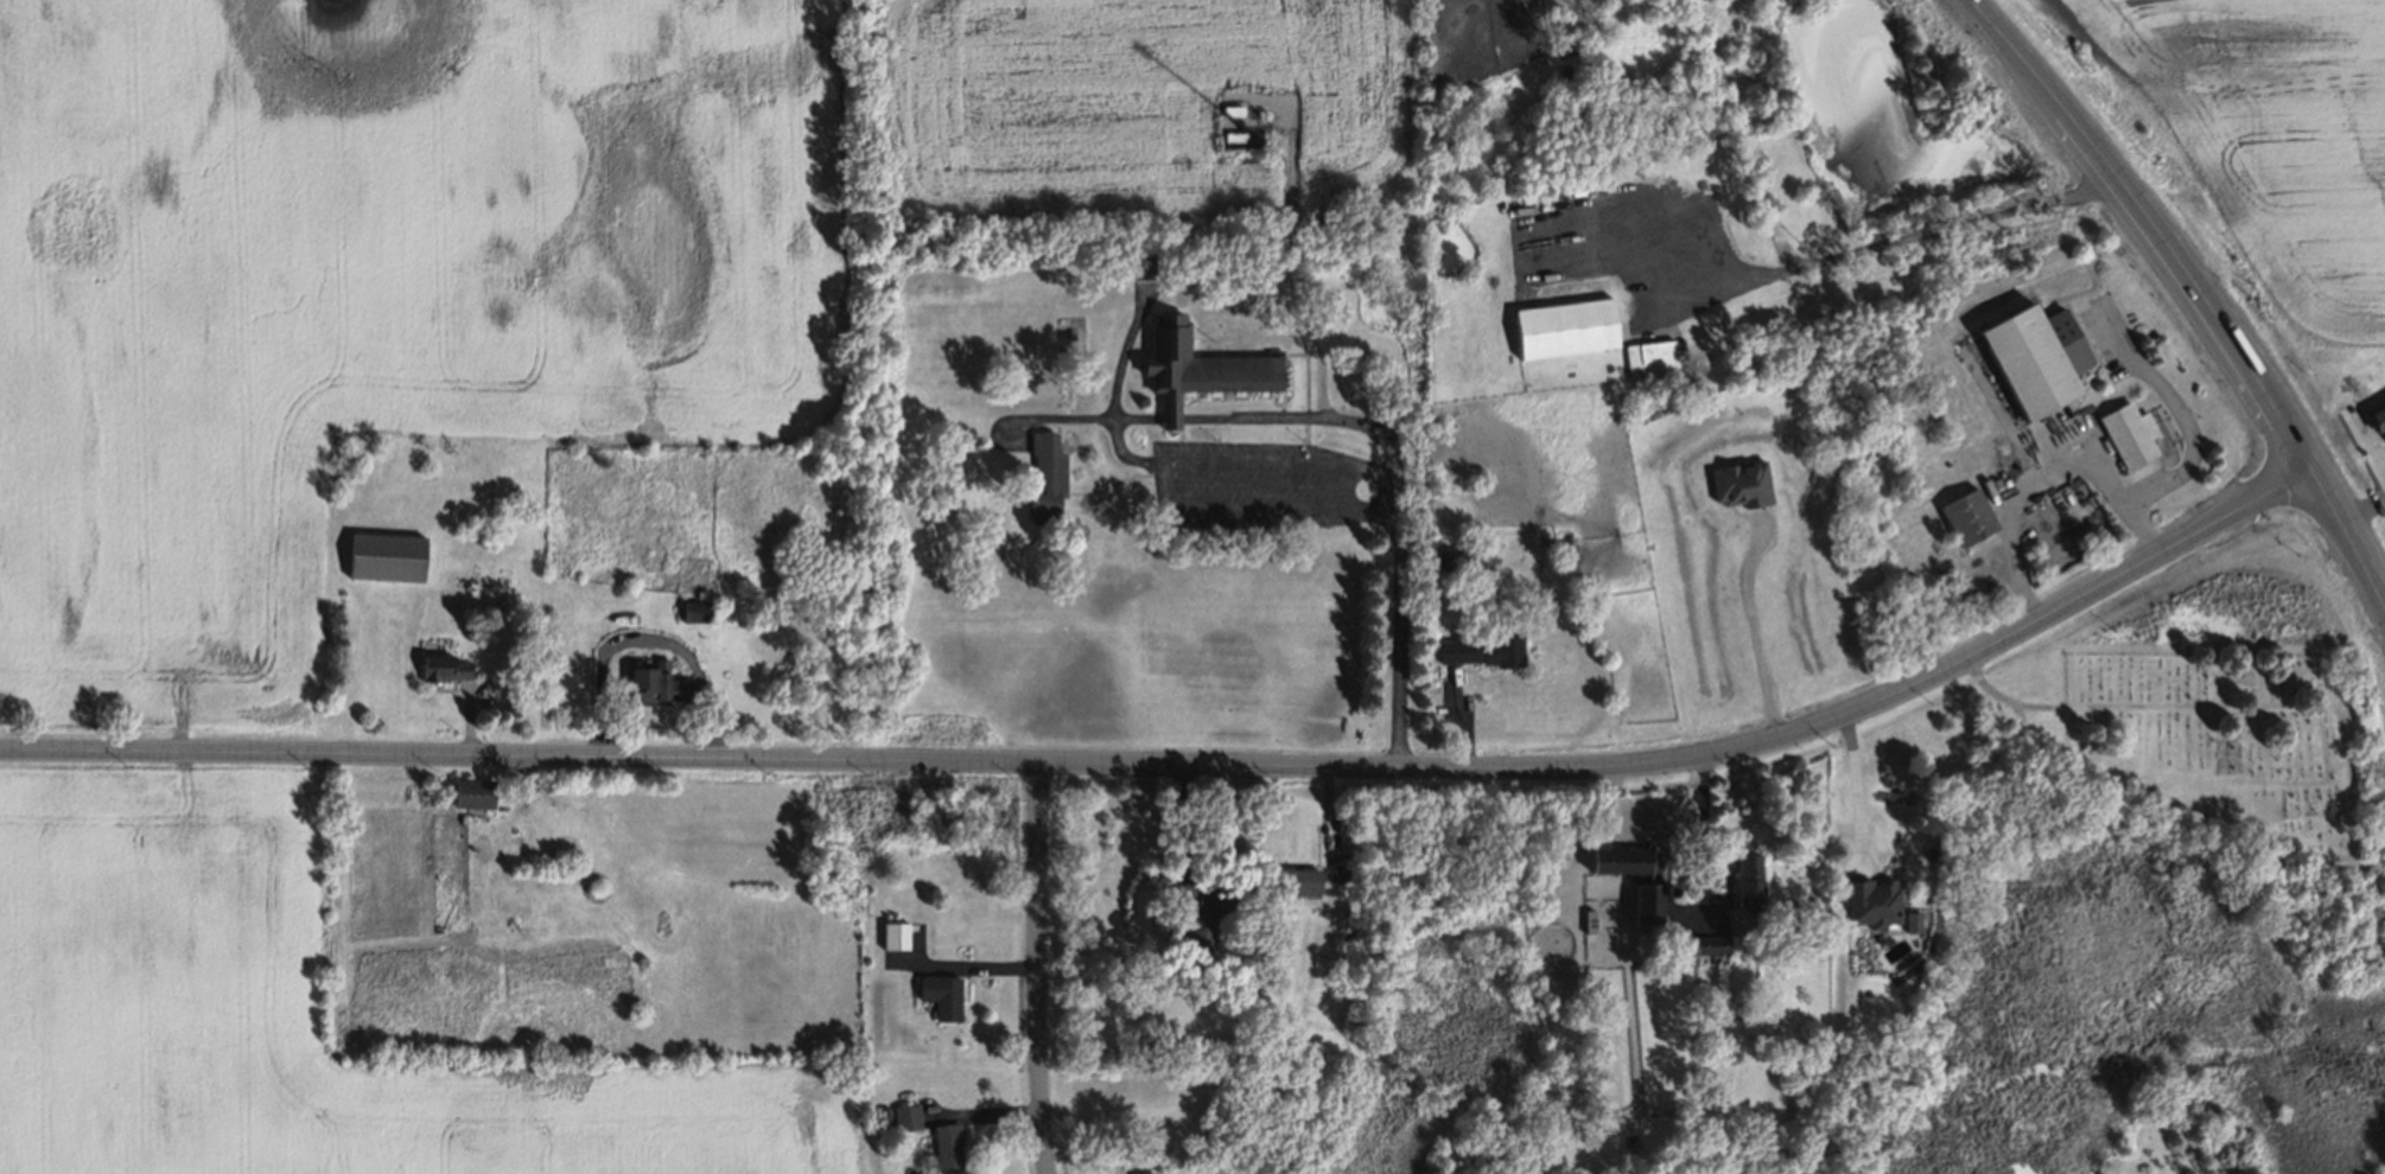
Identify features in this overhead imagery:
building: (1235, 139)
road: (1871, 245)
building: (1140, 262)
road: (1208, 274)
road: (2203, 292)
building: (1565, 330)
building: (1647, 357)
building: (2037, 359)
building: (1198, 369)
road: (1170, 417)
building: (2378, 417)
road: (1305, 419)
road: (1109, 430)
building: (2130, 432)
road: (1157, 470)
building: (1045, 474)
building: (1741, 485)
road: (2109, 487)
building: (1967, 517)
road: (2138, 530)
building: (1562, 553)
building: (383, 555)
building: (1445, 557)
building: (693, 612)
road: (1750, 636)
road: (1395, 638)
building: (1476, 649)
building: (441, 668)
building: (656, 682)
road: (1189, 764)
building: (471, 791)
road: (1852, 791)
road: (1698, 840)
building: (1551, 850)
building: (1617, 855)
building: (1337, 867)
building: (1743, 870)
building: (1291, 880)
building: (1666, 888)
building: (1870, 900)
building: (1643, 902)
building: (1202, 910)
building: (1586, 918)
building: (893, 933)
building: (1709, 943)
road: (1042, 968)
building: (940, 994)
building: (1140, 1044)
building: (882, 1110)
building: (904, 1116)
building: (946, 1144)
building: (1138, 1172)

